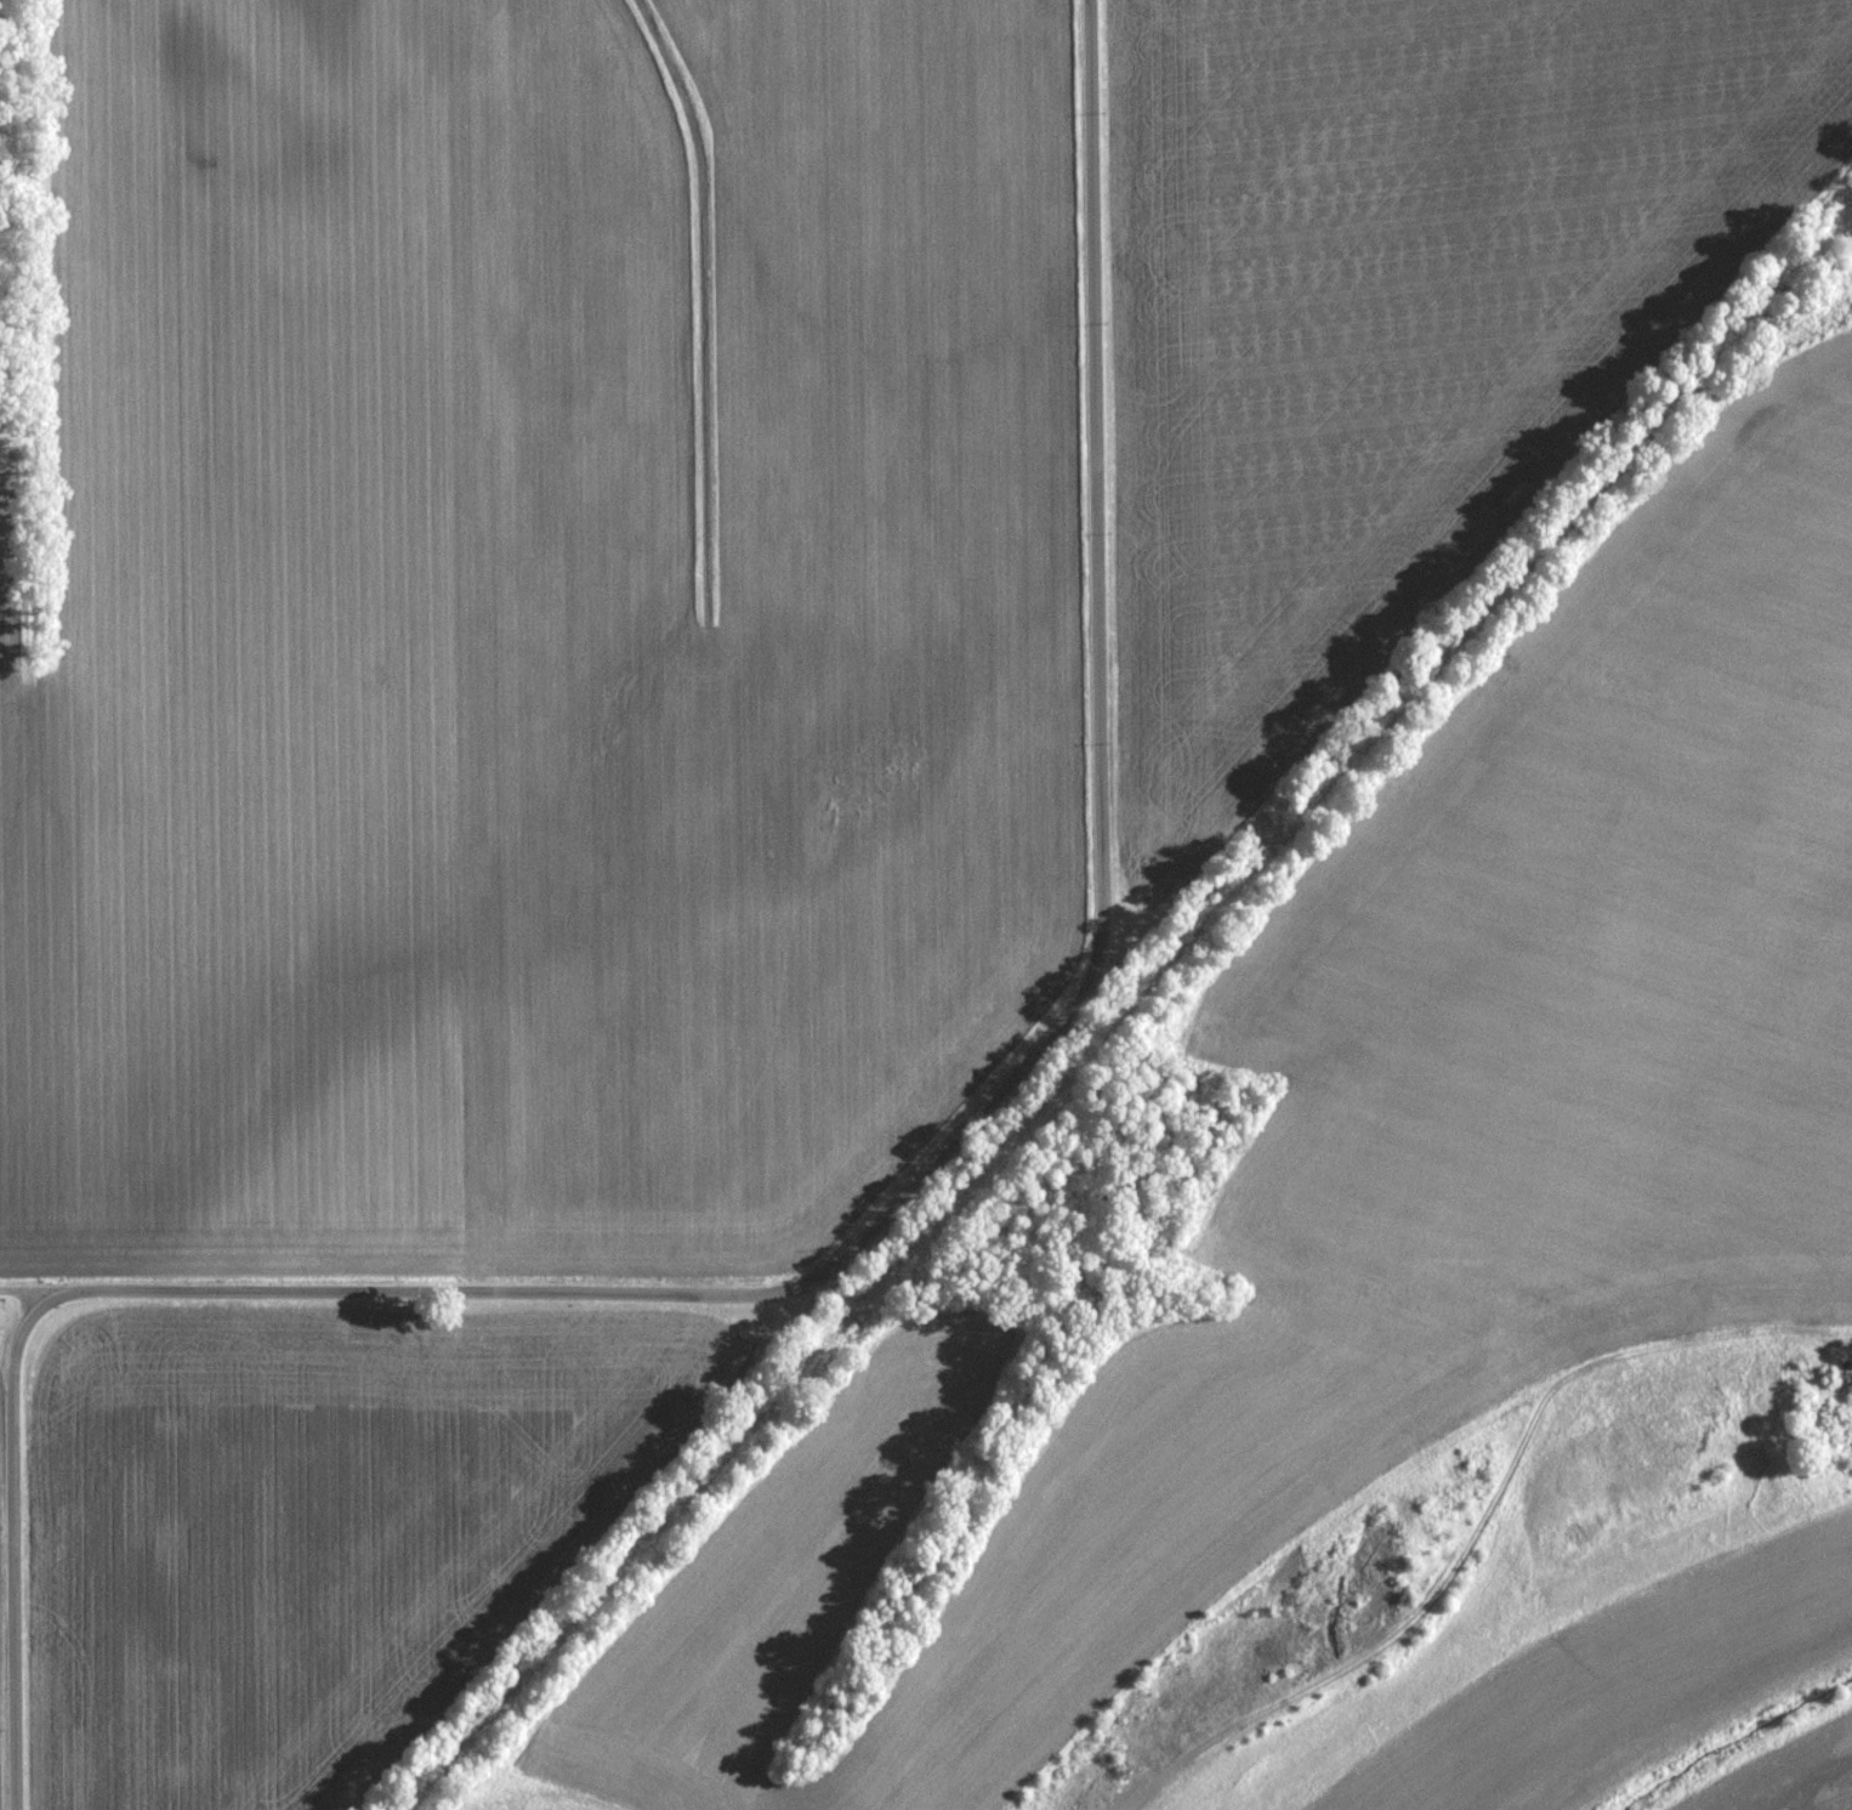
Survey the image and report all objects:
road: (1022, 1068)
road: (28, 1293)
road: (13, 1562)

